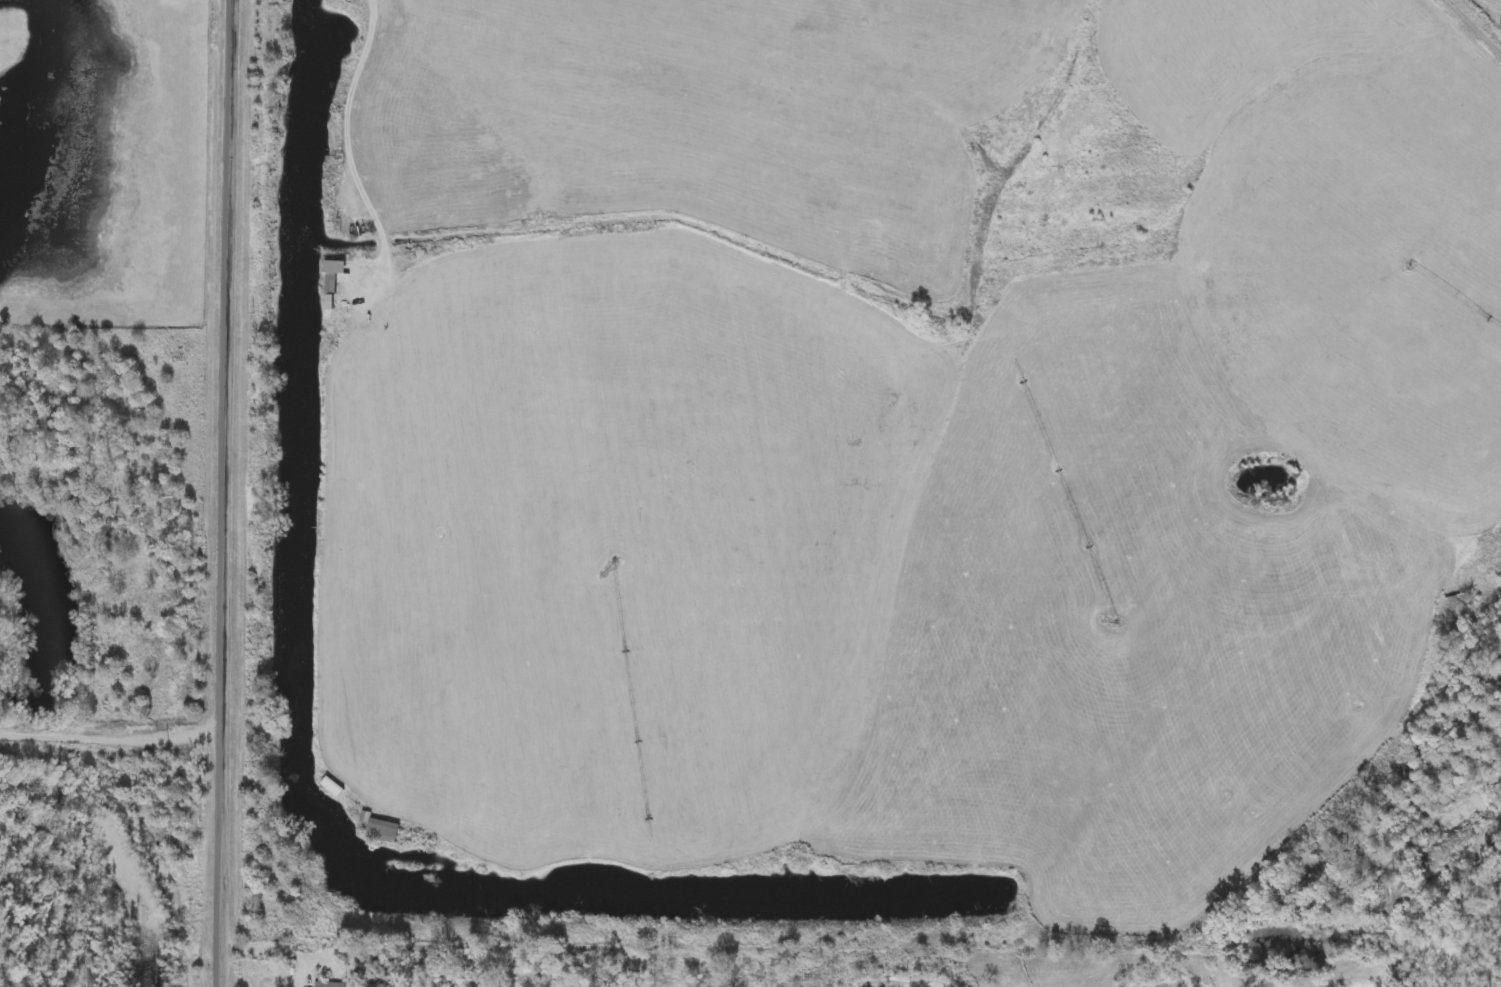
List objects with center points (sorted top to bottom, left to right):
road: (1476, 24)
road: (358, 153)
building: (334, 272)
building: (331, 300)
road: (229, 493)
building: (1459, 599)
road: (112, 739)
building: (334, 784)
building: (383, 825)
road: (274, 951)
building: (332, 983)

